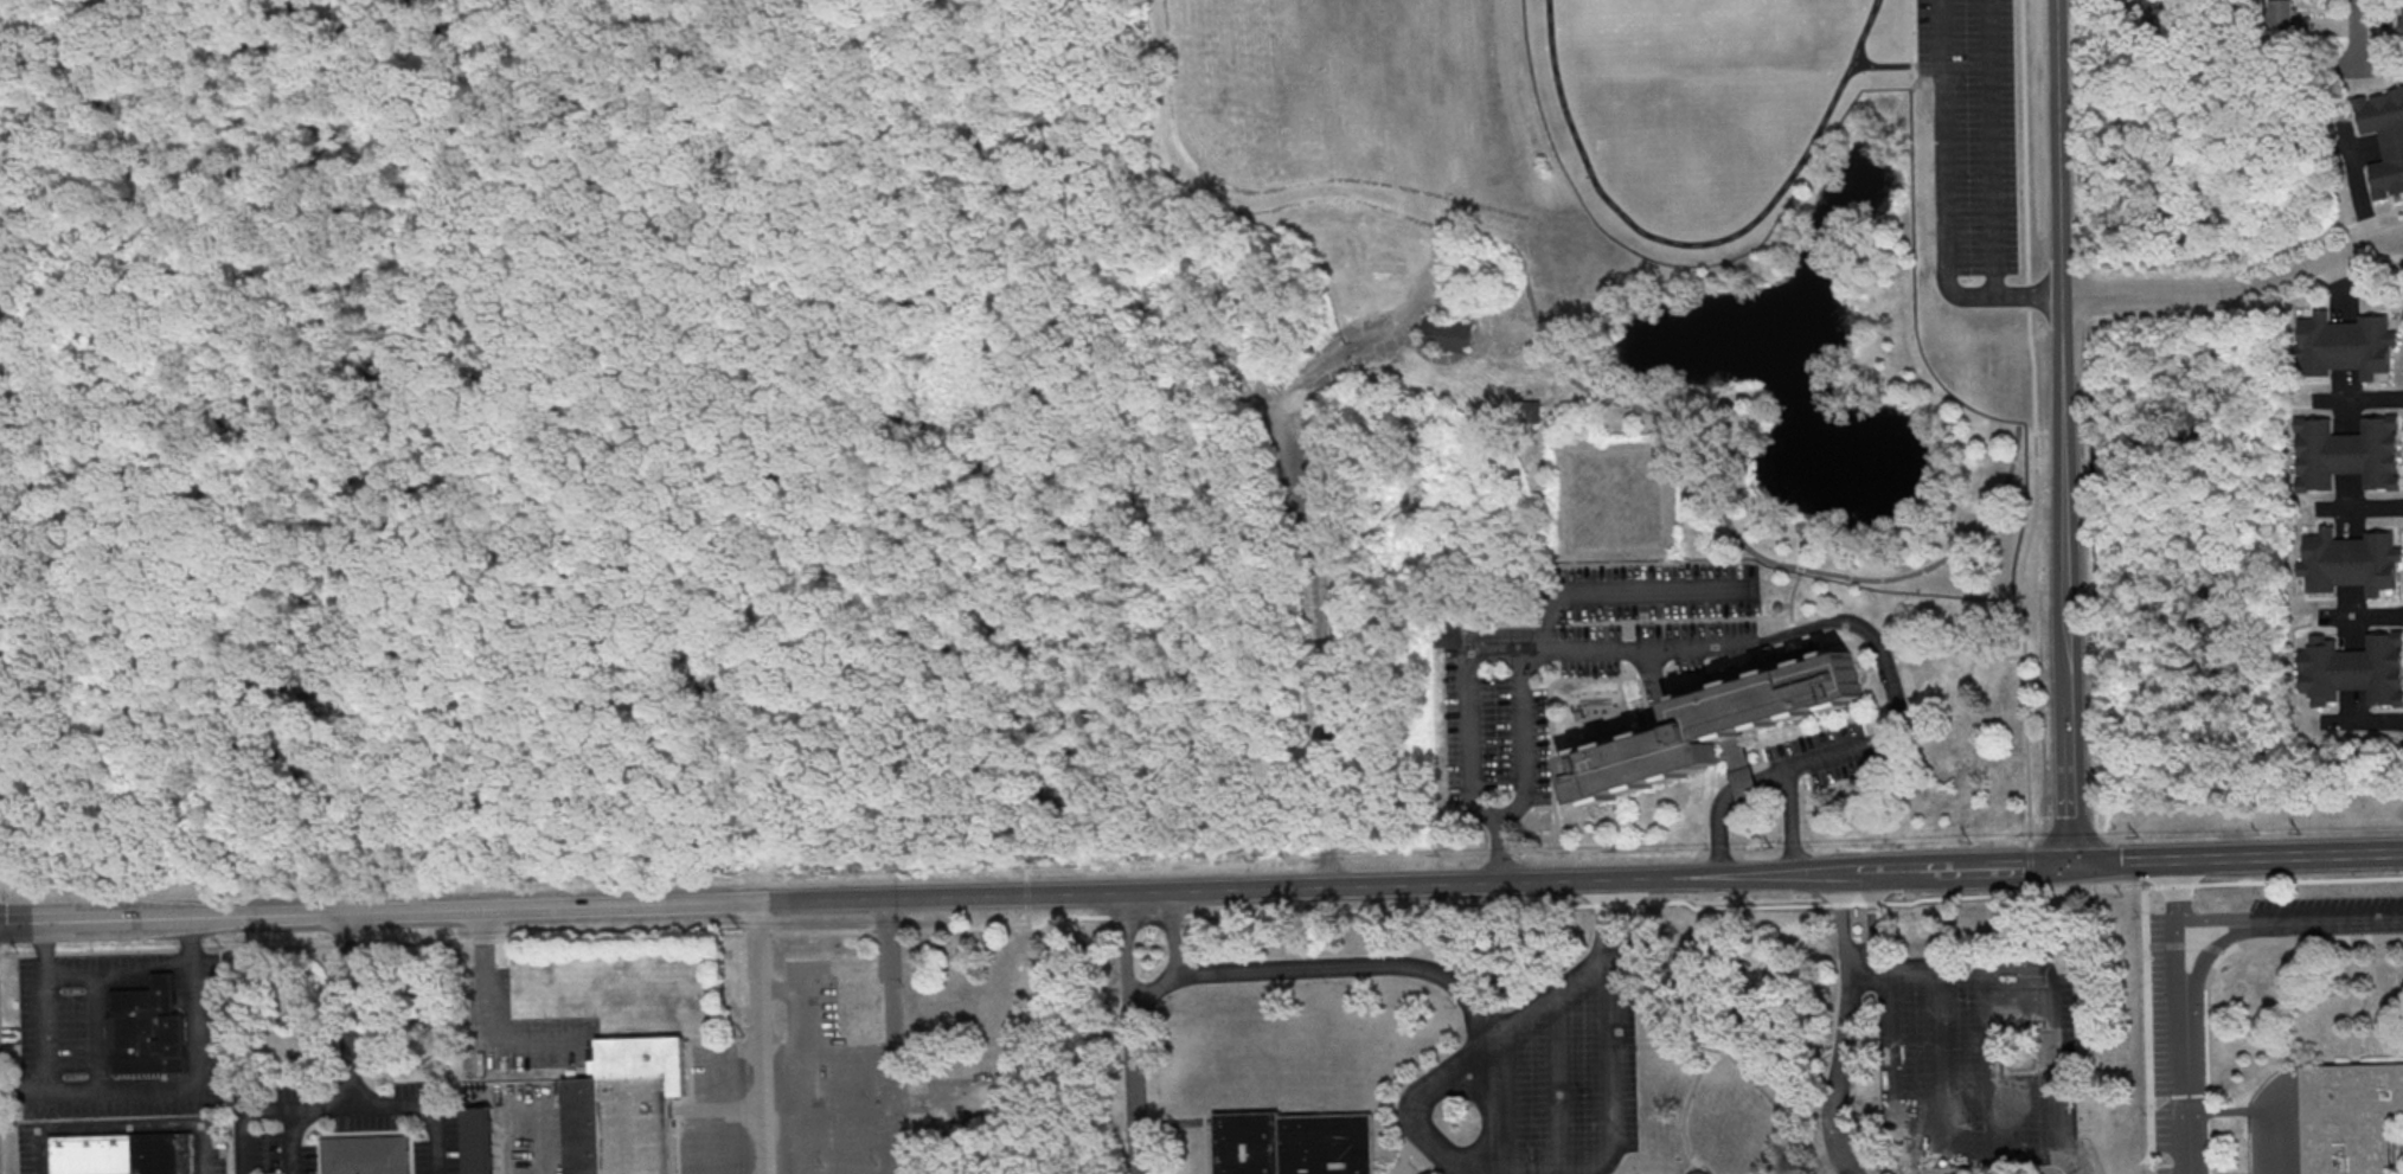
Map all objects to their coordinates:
park: (1706, 11)
park: (1777, 13)
building: (2165, 17)
building: (2290, 18)
park: (1641, 19)
building: (2401, 19)
road: (2356, 36)
road: (1918, 68)
road: (1572, 129)
parking lot: (1973, 133)
building: (2385, 140)
road: (1994, 149)
road: (1800, 167)
road: (1277, 190)
road: (1946, 201)
road: (1476, 233)
road: (2396, 261)
road: (2253, 265)
road: (2237, 290)
road: (2248, 310)
road: (1383, 322)
building: (1444, 335)
building: (2345, 346)
park: (1508, 370)
road: (2359, 400)
building: (1530, 411)
road: (2065, 432)
road: (2036, 434)
building: (2347, 455)
road: (2364, 509)
road: (1948, 557)
road: (1313, 559)
building: (2350, 563)
road: (1799, 575)
parking lot: (1657, 590)
road: (1622, 591)
road: (2364, 618)
road: (1793, 628)
building: (1448, 633)
road: (1518, 652)
road: (1885, 662)
road: (1867, 669)
building: (2353, 669)
building: (1719, 720)
road: (2372, 721)
road: (1878, 740)
parking lot: (1495, 745)
road: (1524, 745)
road: (1761, 745)
road: (2002, 759)
road: (1974, 770)
building: (1745, 783)
road: (1801, 804)
road: (1792, 822)
road: (1500, 855)
road: (1363, 858)
road: (2238, 859)
traffic signals: (2075, 865)
road: (1974, 868)
road: (2283, 871)
road: (1857, 872)
road: (1818, 873)
road: (1029, 896)
road: (896, 897)
road: (2289, 920)
road: (1173, 934)
road: (523, 938)
road: (1859, 951)
road: (1856, 962)
road: (1319, 967)
road: (2210, 970)
road: (120, 974)
road: (2046, 983)
building: (858, 997)
road: (44, 1006)
road: (489, 1016)
road: (2179, 1016)
building: (149, 1032)
road: (1129, 1033)
road: (889, 1035)
road: (757, 1037)
building: (841, 1061)
road: (1837, 1073)
road: (1556, 1076)
road: (346, 1082)
road: (182, 1088)
road: (1498, 1096)
road: (1393, 1099)
road: (319, 1106)
building: (627, 1108)
road: (2, 1109)
building: (2350, 1117)
road: (244, 1118)
road: (121, 1129)
road: (290, 1141)
building: (479, 1141)
road: (1897, 1142)
building: (1294, 1144)
road: (1444, 1151)
building: (124, 1154)
building: (365, 1154)
road: (2148, 1165)
road: (2149, 1169)
building: (1699, 1172)

